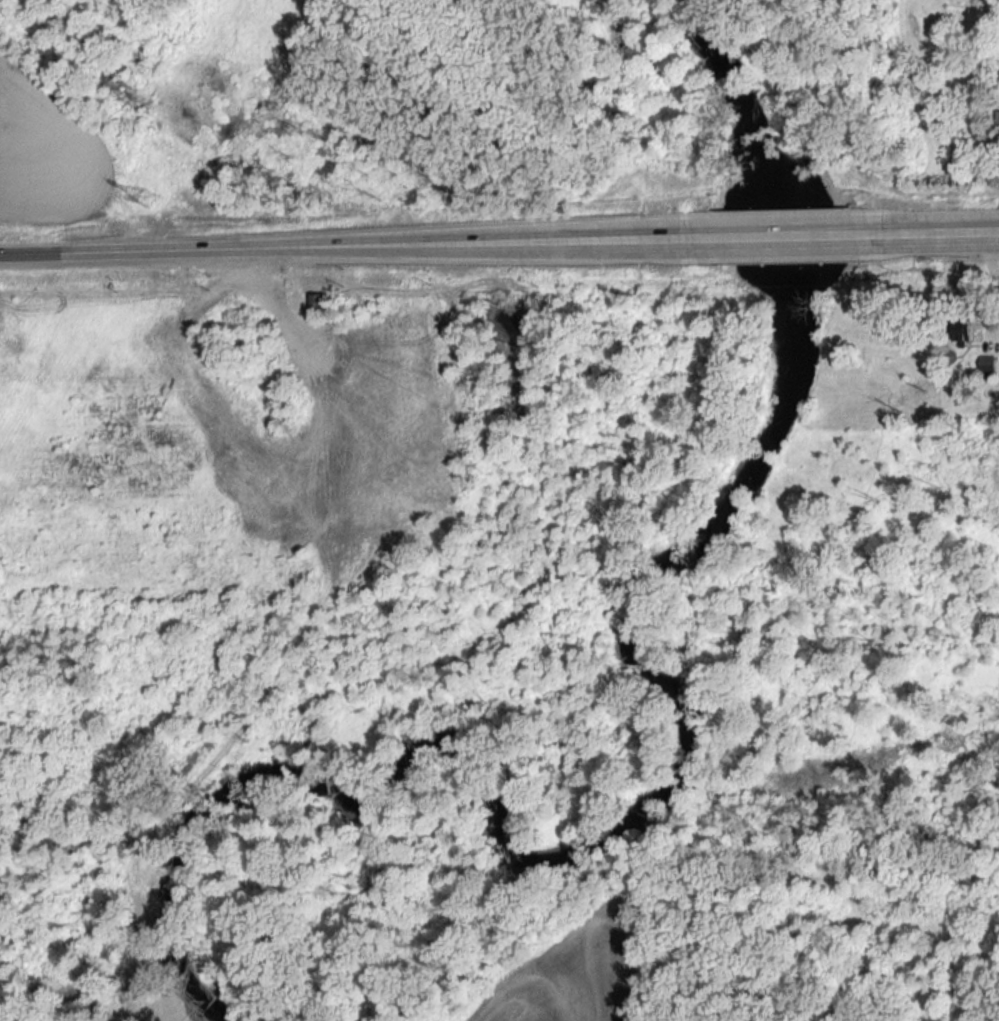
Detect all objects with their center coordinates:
crop: (45, 151)
building: (145, 198)
power tower: (152, 201)
road: (940, 232)
road: (766, 236)
road: (465, 243)
road: (139, 250)
building: (322, 305)
building: (963, 328)
building: (988, 366)
river: (672, 781)

